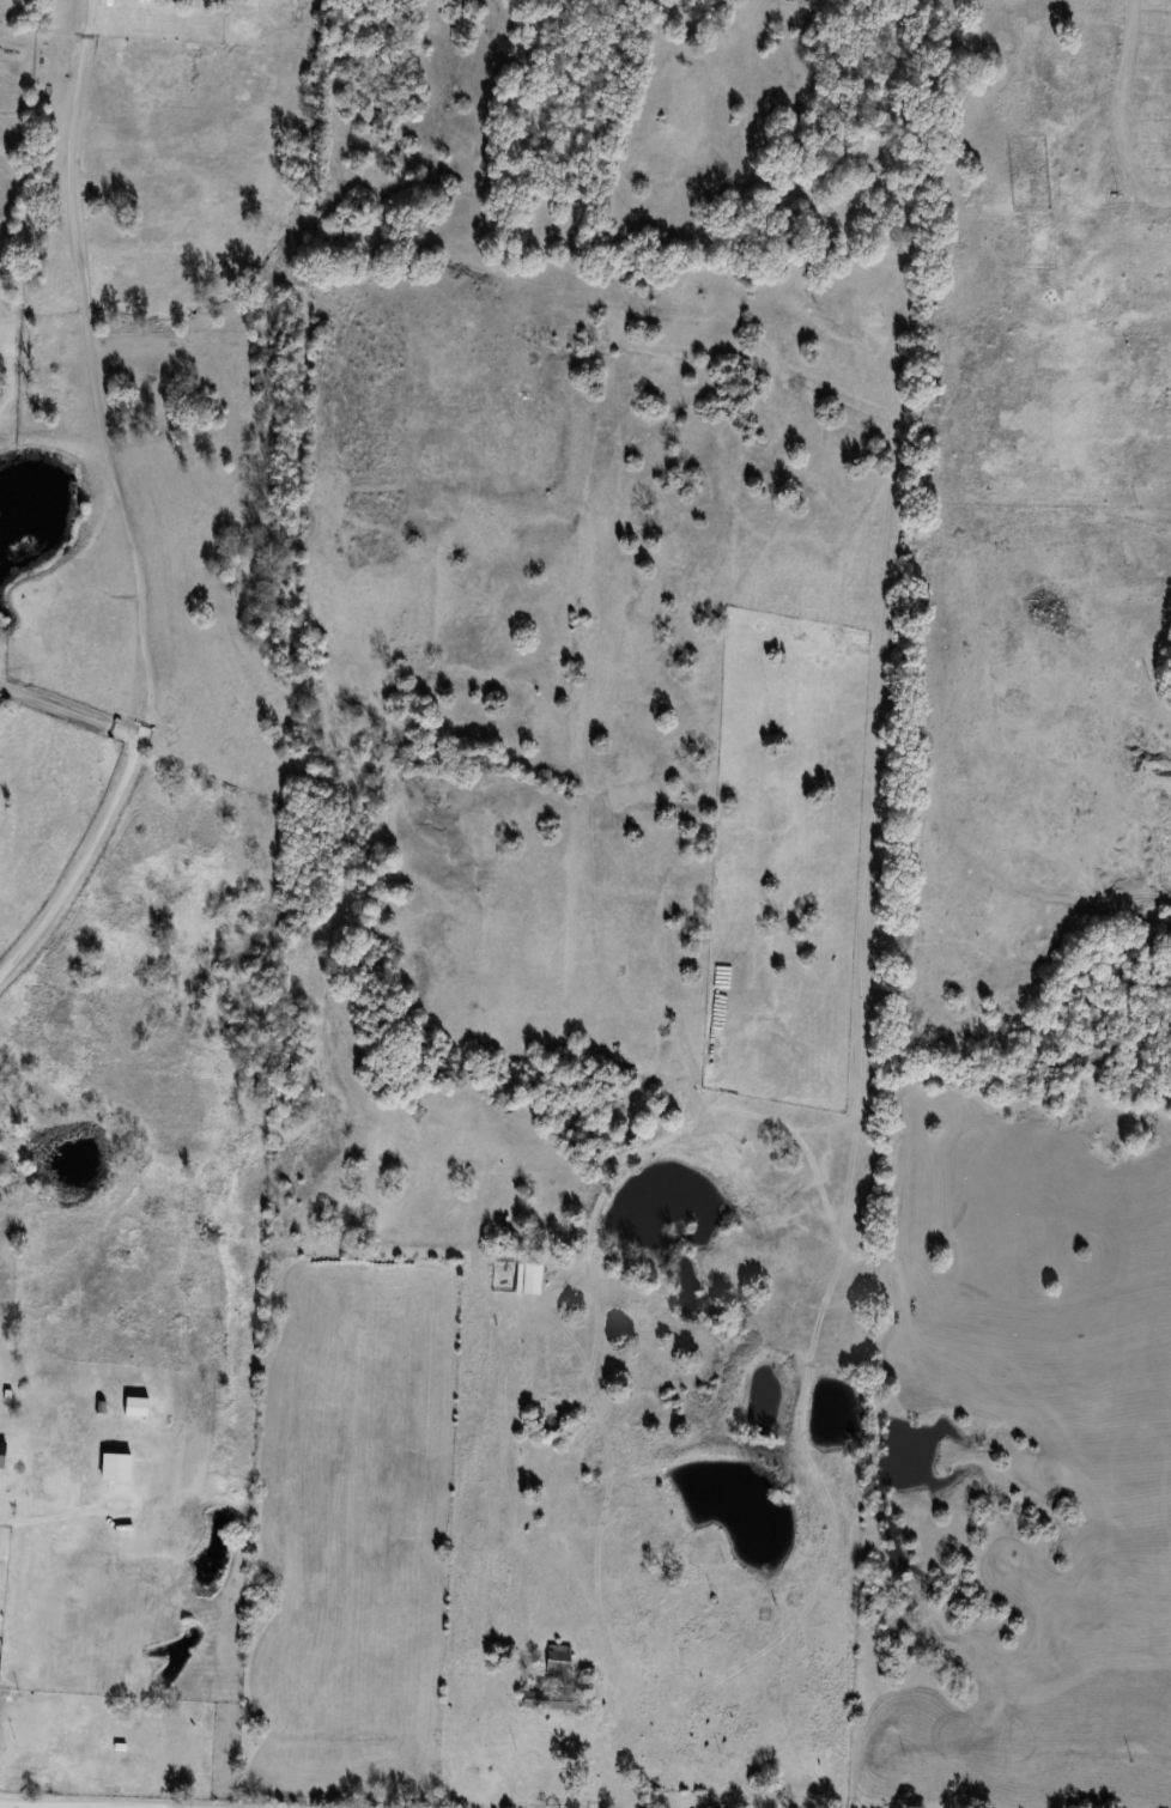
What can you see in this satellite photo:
road: (81, 357)
road: (114, 797)
building: (1, 1455)
building: (113, 1468)
road: (601, 1534)
building: (556, 1661)
building: (558, 1701)
road: (28, 1807)

